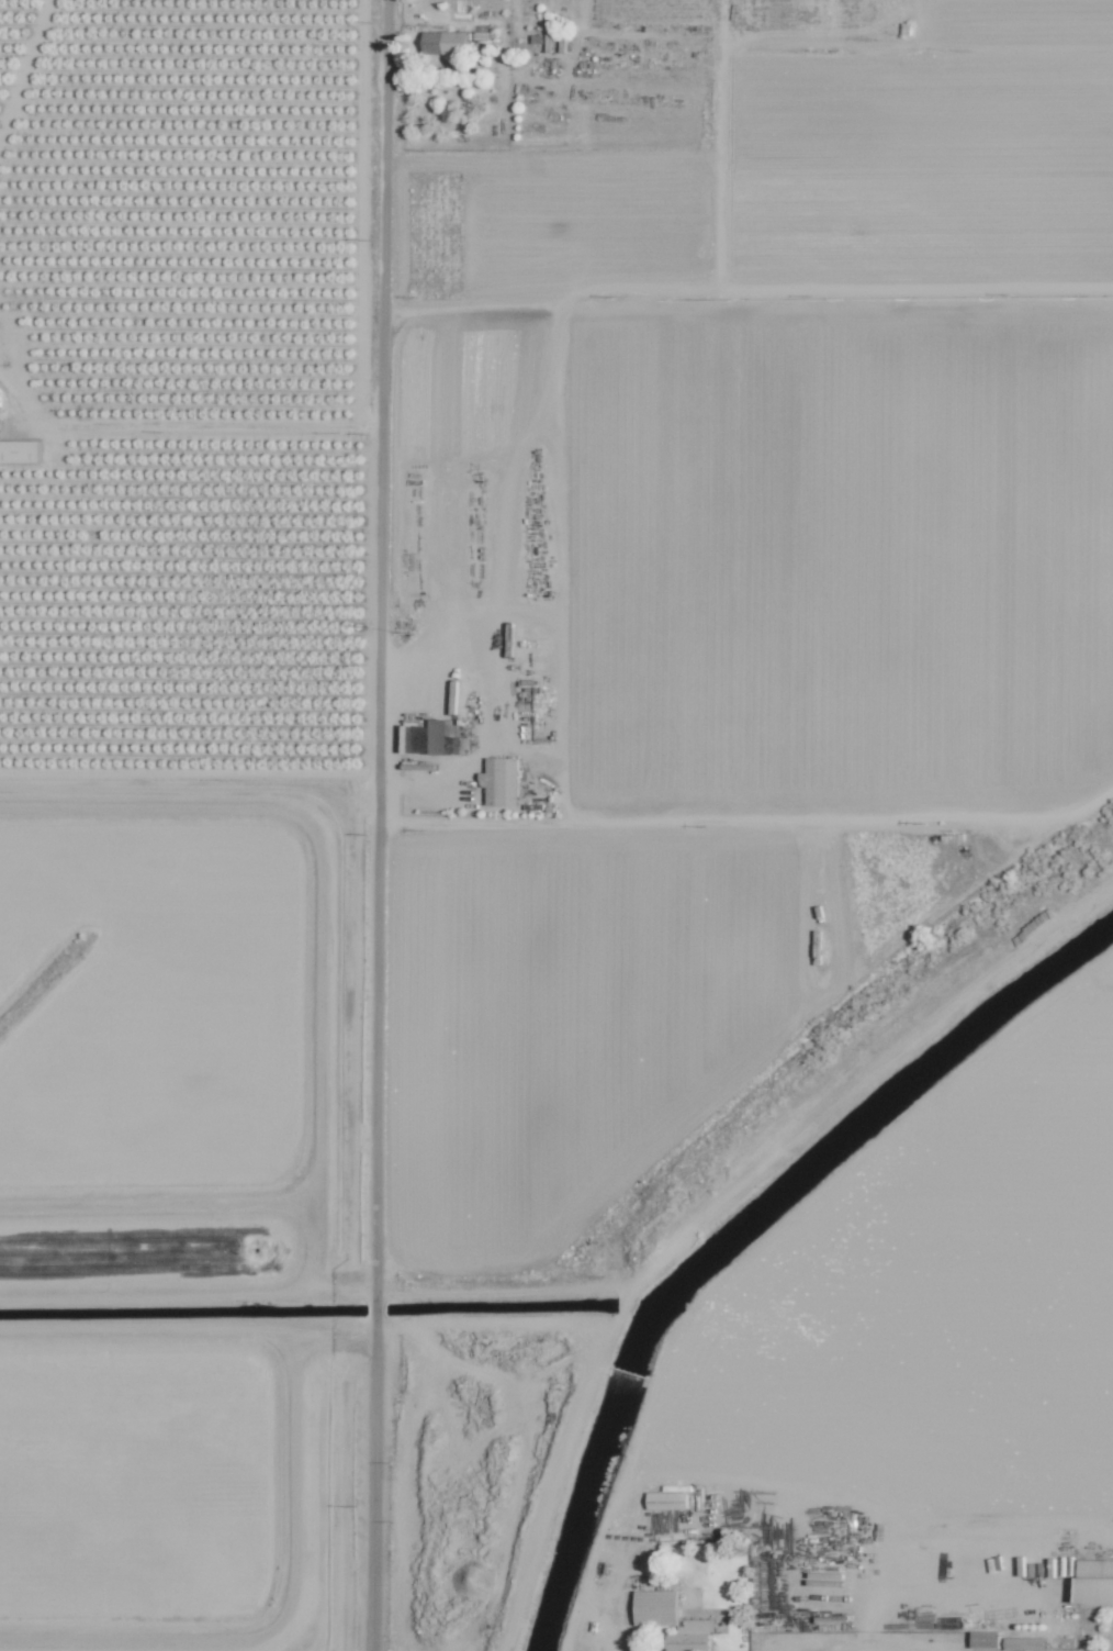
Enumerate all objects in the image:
building: (446, 42)
road: (200, 424)
building: (20, 451)
road: (485, 728)
building: (438, 738)
building: (501, 781)
road: (379, 825)
building: (677, 1488)
building: (667, 1501)
building: (1094, 1581)
building: (673, 1620)
building: (986, 1639)
building: (1025, 1643)

